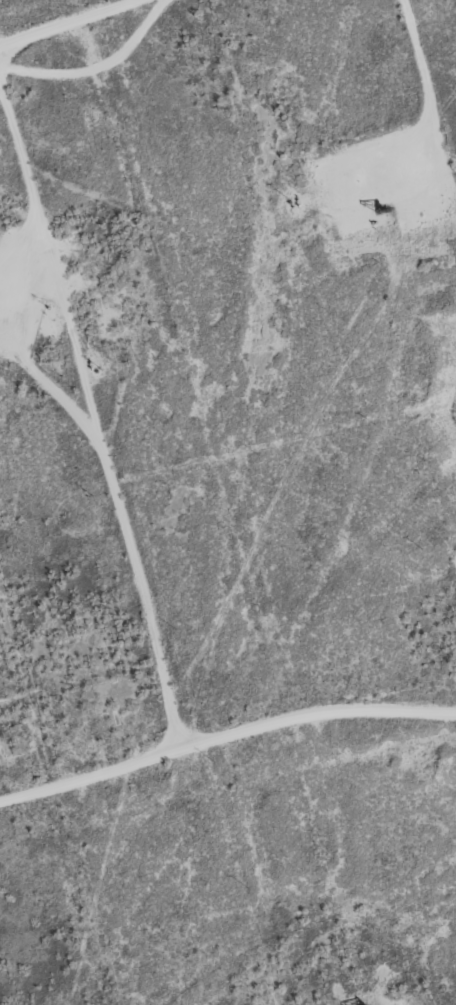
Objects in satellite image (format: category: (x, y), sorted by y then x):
road: (74, 25)
road: (95, 408)
road: (225, 738)

